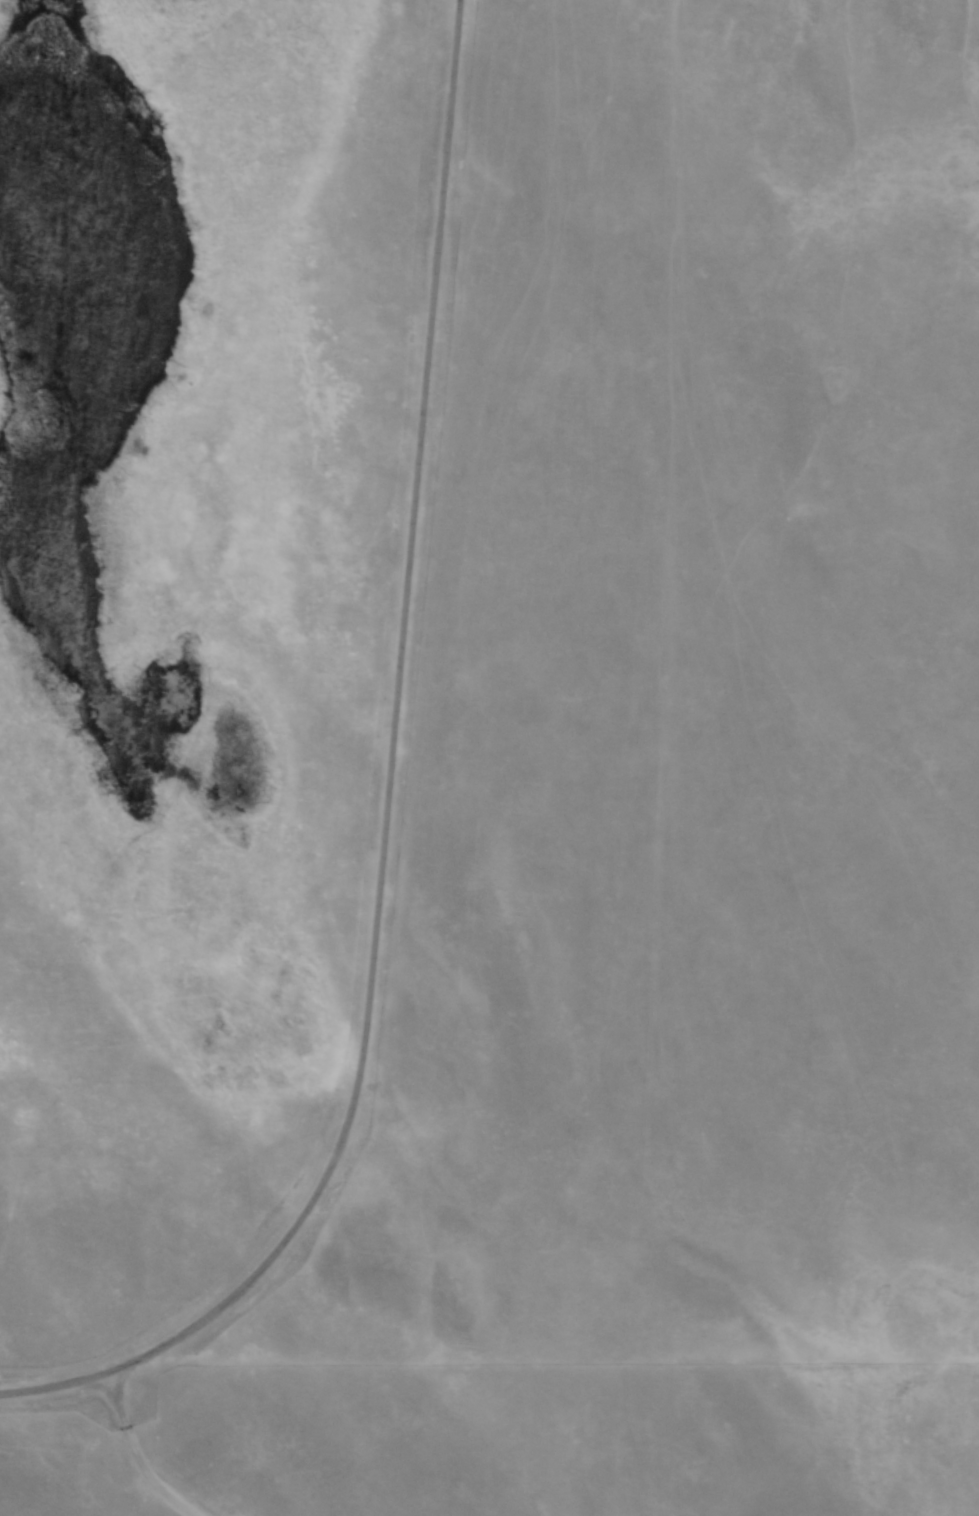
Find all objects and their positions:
road: (387, 795)
road: (135, 1455)

